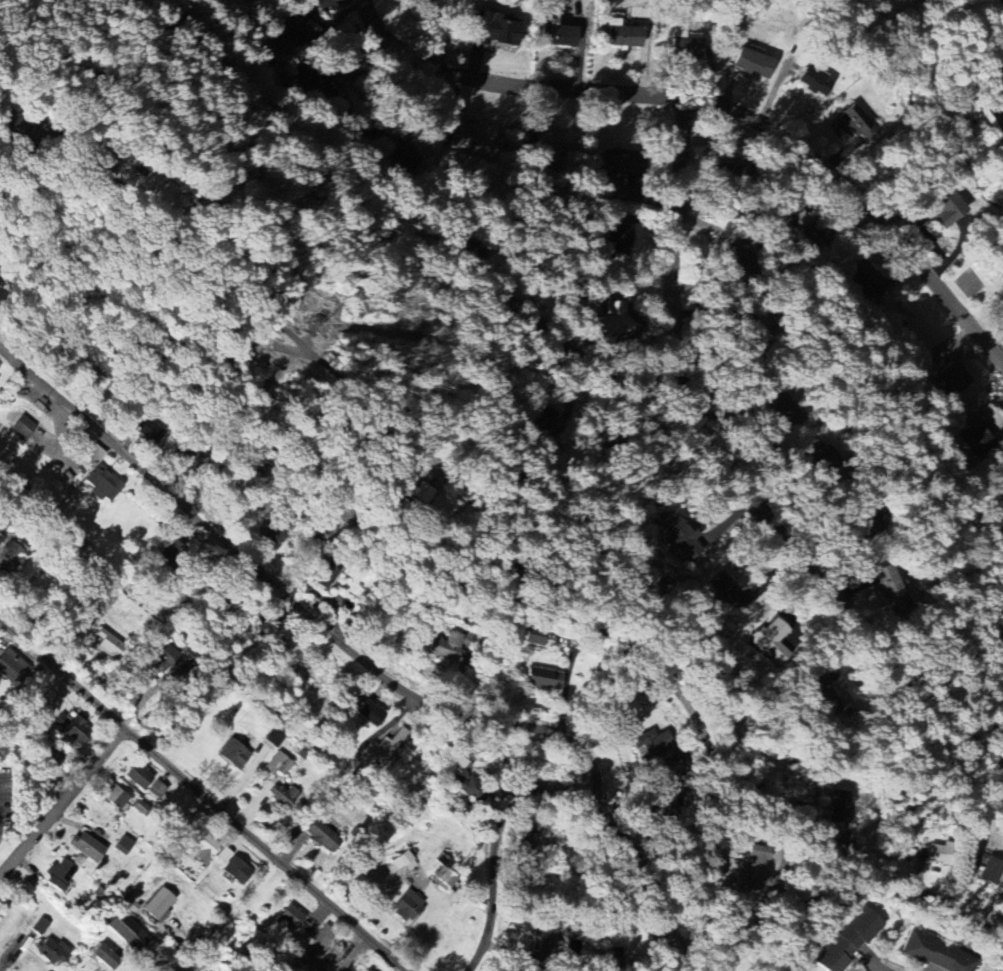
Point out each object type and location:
building: (428, 0)
building: (287, 24)
building: (494, 32)
building: (621, 36)
building: (557, 37)
building: (685, 46)
building: (752, 65)
building: (812, 83)
building: (317, 84)
road: (376, 101)
road: (716, 104)
building: (1000, 107)
building: (856, 125)
building: (473, 137)
building: (552, 145)
building: (400, 157)
building: (620, 164)
building: (945, 208)
building: (812, 230)
building: (616, 247)
building: (729, 264)
building: (867, 280)
building: (1002, 305)
building: (614, 321)
road: (574, 349)
building: (952, 379)
road: (681, 403)
building: (783, 412)
building: (539, 419)
building: (23, 428)
building: (973, 440)
road: (473, 470)
building: (101, 484)
building: (422, 494)
building: (276, 532)
building: (681, 540)
building: (9, 558)
building: (721, 589)
building: (890, 590)
road: (479, 591)
building: (535, 637)
building: (771, 641)
building: (108, 646)
building: (445, 648)
building: (159, 659)
building: (11, 668)
building: (543, 680)
road: (395, 688)
building: (822, 695)
building: (368, 714)
building: (71, 729)
building: (389, 746)
building: (650, 747)
building: (233, 755)
building: (49, 759)
building: (278, 766)
building: (138, 777)
building: (464, 777)
building: (156, 791)
road: (202, 796)
building: (283, 797)
building: (115, 798)
road: (62, 803)
building: (838, 807)
building: (322, 837)
building: (200, 843)
building: (526, 844)
building: (85, 848)
building: (938, 854)
building: (223, 856)
building: (401, 863)
building: (987, 871)
building: (236, 872)
building: (755, 872)
building: (58, 876)
road: (644, 883)
road: (908, 886)
building: (157, 904)
building: (407, 904)
building: (130, 906)
building: (289, 919)
building: (39, 928)
building: (126, 933)
building: (544, 939)
building: (848, 942)
building: (313, 951)
building: (50, 952)
building: (935, 954)
building: (105, 958)
building: (366, 970)

